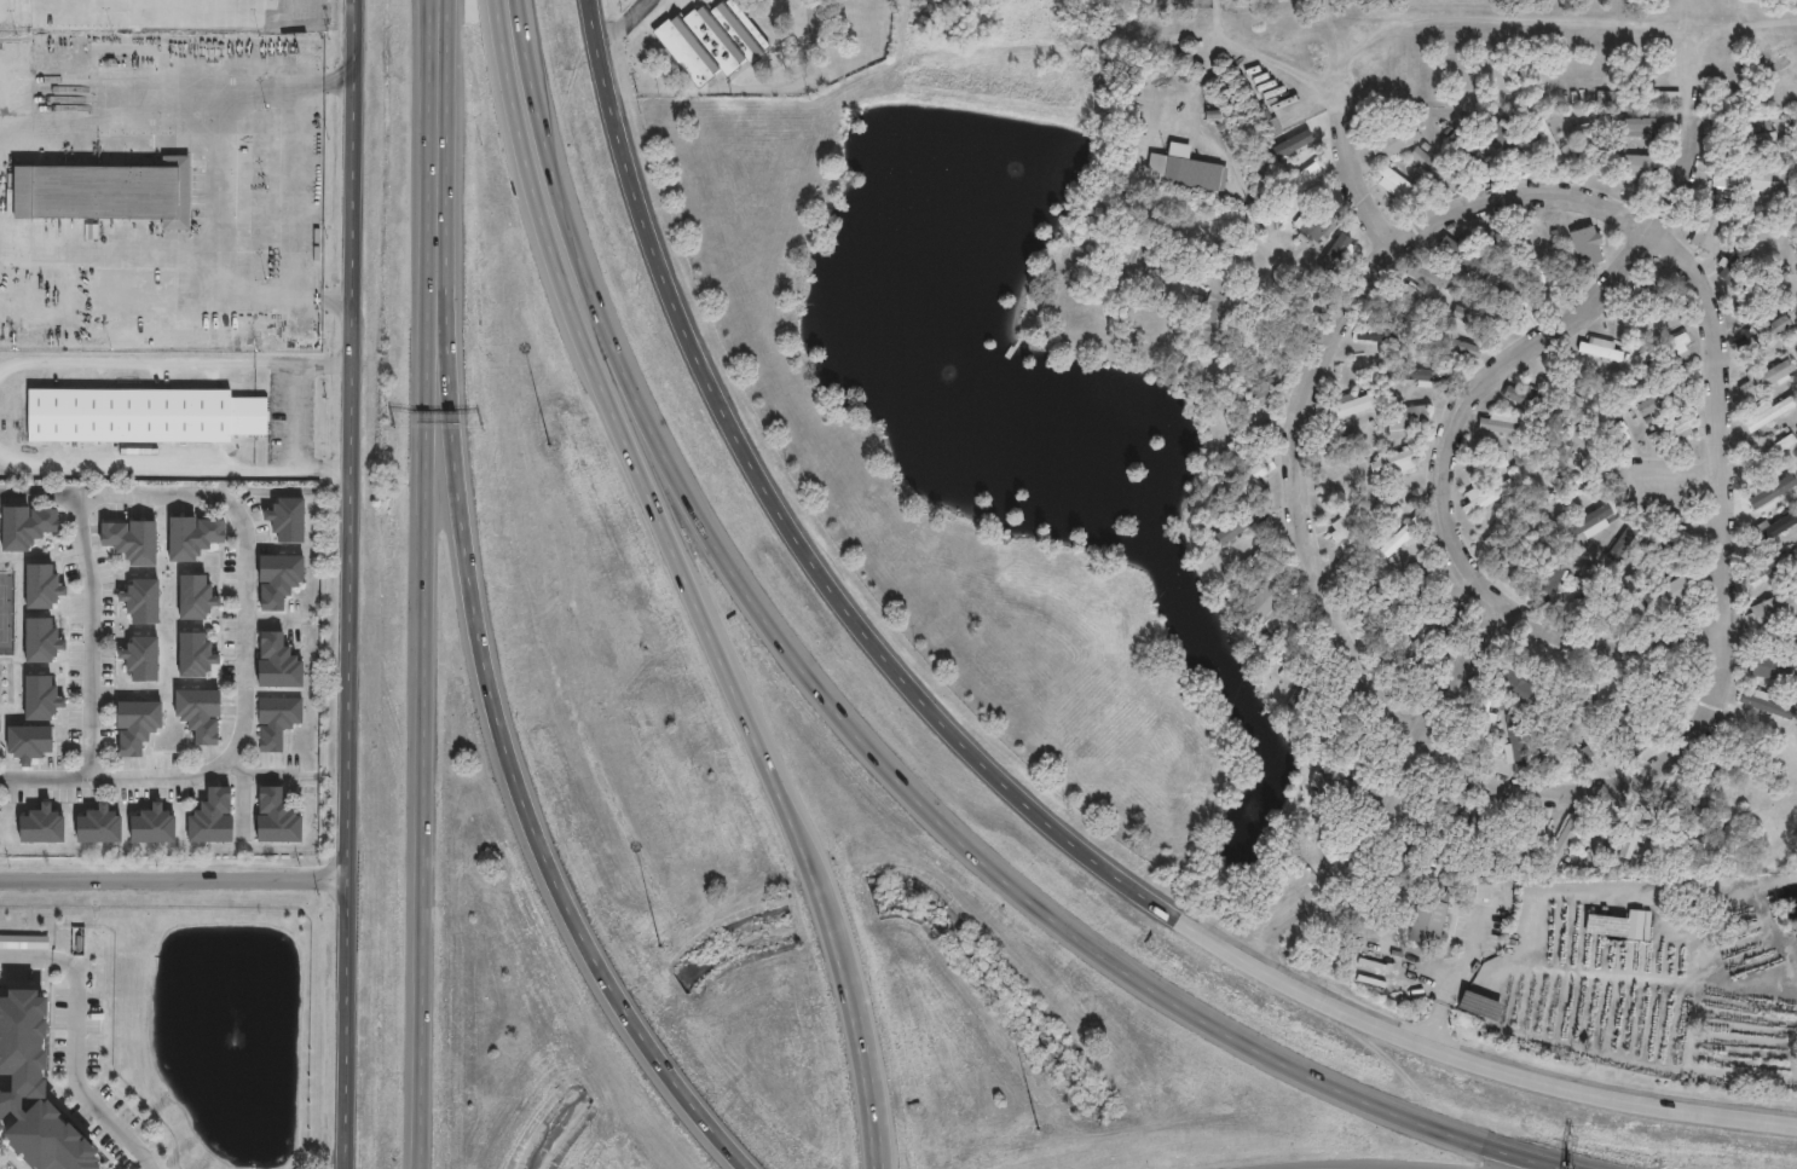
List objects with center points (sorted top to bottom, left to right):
road: (625, 19)
building: (715, 41)
road: (437, 53)
road: (1273, 62)
road: (88, 86)
building: (1639, 99)
building: (1273, 122)
building: (1643, 127)
building: (1767, 135)
building: (1510, 139)
building: (1394, 144)
building: (1549, 144)
building: (1595, 149)
building: (1467, 152)
building: (1431, 166)
building: (1645, 166)
building: (1190, 172)
road: (1350, 175)
building: (1308, 179)
building: (1746, 181)
building: (1259, 183)
building: (1404, 185)
road: (213, 189)
building: (106, 192)
building: (1321, 221)
building: (1275, 222)
building: (1716, 226)
building: (1510, 239)
road: (105, 245)
building: (1593, 247)
building: (1741, 253)
building: (1469, 255)
building: (1339, 256)
building: (1439, 278)
building: (1762, 293)
building: (1663, 295)
building: (1516, 296)
building: (1405, 302)
building: (1224, 307)
building: (1483, 322)
building: (1382, 332)
building: (1763, 335)
building: (1457, 346)
building: (1605, 348)
building: (1668, 349)
road: (145, 361)
building: (1370, 366)
building: (1431, 377)
building: (1770, 377)
building: (1568, 380)
building: (1260, 389)
building: (1521, 394)
building: (1669, 400)
building: (1542, 403)
building: (1356, 404)
building: (1774, 413)
building: (140, 416)
road: (293, 417)
building: (1409, 422)
building: (1509, 426)
building: (1628, 429)
building: (1678, 430)
road: (1444, 436)
building: (1253, 440)
building: (1346, 444)
building: (1584, 445)
building: (1772, 452)
building: (1398, 461)
road: (144, 467)
building: (1495, 467)
building: (1255, 473)
road: (1711, 473)
road: (1674, 476)
building: (1571, 481)
building: (1346, 486)
building: (1773, 493)
road: (117, 497)
building: (1490, 497)
building: (1399, 498)
road: (1295, 509)
building: (288, 516)
building: (1600, 520)
building: (1353, 522)
building: (24, 525)
building: (1672, 527)
building: (1241, 528)
building: (1774, 532)
building: (192, 534)
building: (1493, 537)
building: (133, 538)
building: (1631, 539)
building: (1522, 543)
building: (1402, 545)
road: (807, 550)
building: (1261, 556)
building: (1352, 556)
building: (1518, 559)
building: (1775, 569)
building: (278, 575)
building: (1423, 578)
building: (1554, 578)
road: (353, 584)
road: (683, 584)
building: (40, 585)
building: (1587, 591)
building: (1677, 592)
building: (197, 595)
building: (144, 598)
building: (1641, 603)
building: (1270, 604)
building: (1775, 613)
building: (1449, 632)
road: (93, 636)
road: (427, 637)
building: (40, 638)
road: (250, 644)
building: (1295, 649)
building: (195, 653)
building: (1438, 653)
building: (141, 655)
building: (277, 659)
building: (1776, 667)
road: (484, 671)
building: (1669, 677)
building: (1518, 681)
building: (1560, 684)
building: (1313, 687)
building: (1591, 693)
building: (39, 696)
building: (1768, 707)
building: (201, 712)
building: (277, 716)
building: (1334, 721)
building: (1483, 721)
building: (138, 723)
building: (1636, 736)
building: (25, 741)
building: (1364, 741)
road: (859, 743)
building: (1519, 745)
building: (1597, 745)
building: (1549, 746)
building: (1744, 756)
road: (2, 777)
road: (111, 777)
building: (1711, 786)
building: (1350, 792)
road: (1391, 797)
building: (1677, 812)
building: (212, 815)
building: (277, 816)
building: (1444, 816)
building: (41, 823)
building: (98, 823)
building: (152, 823)
building: (1479, 828)
building: (1641, 832)
building: (1506, 835)
building: (1536, 840)
building: (1604, 841)
building: (1567, 843)
building: (1423, 849)
road: (174, 882)
building: (1484, 891)
road: (1529, 914)
building: (1434, 918)
building: (1643, 924)
building: (24, 941)
road: (1466, 959)
building: (1481, 1006)
road: (1434, 1023)
road: (71, 1044)
road: (1508, 1069)
building: (33, 1093)
road: (877, 1095)

